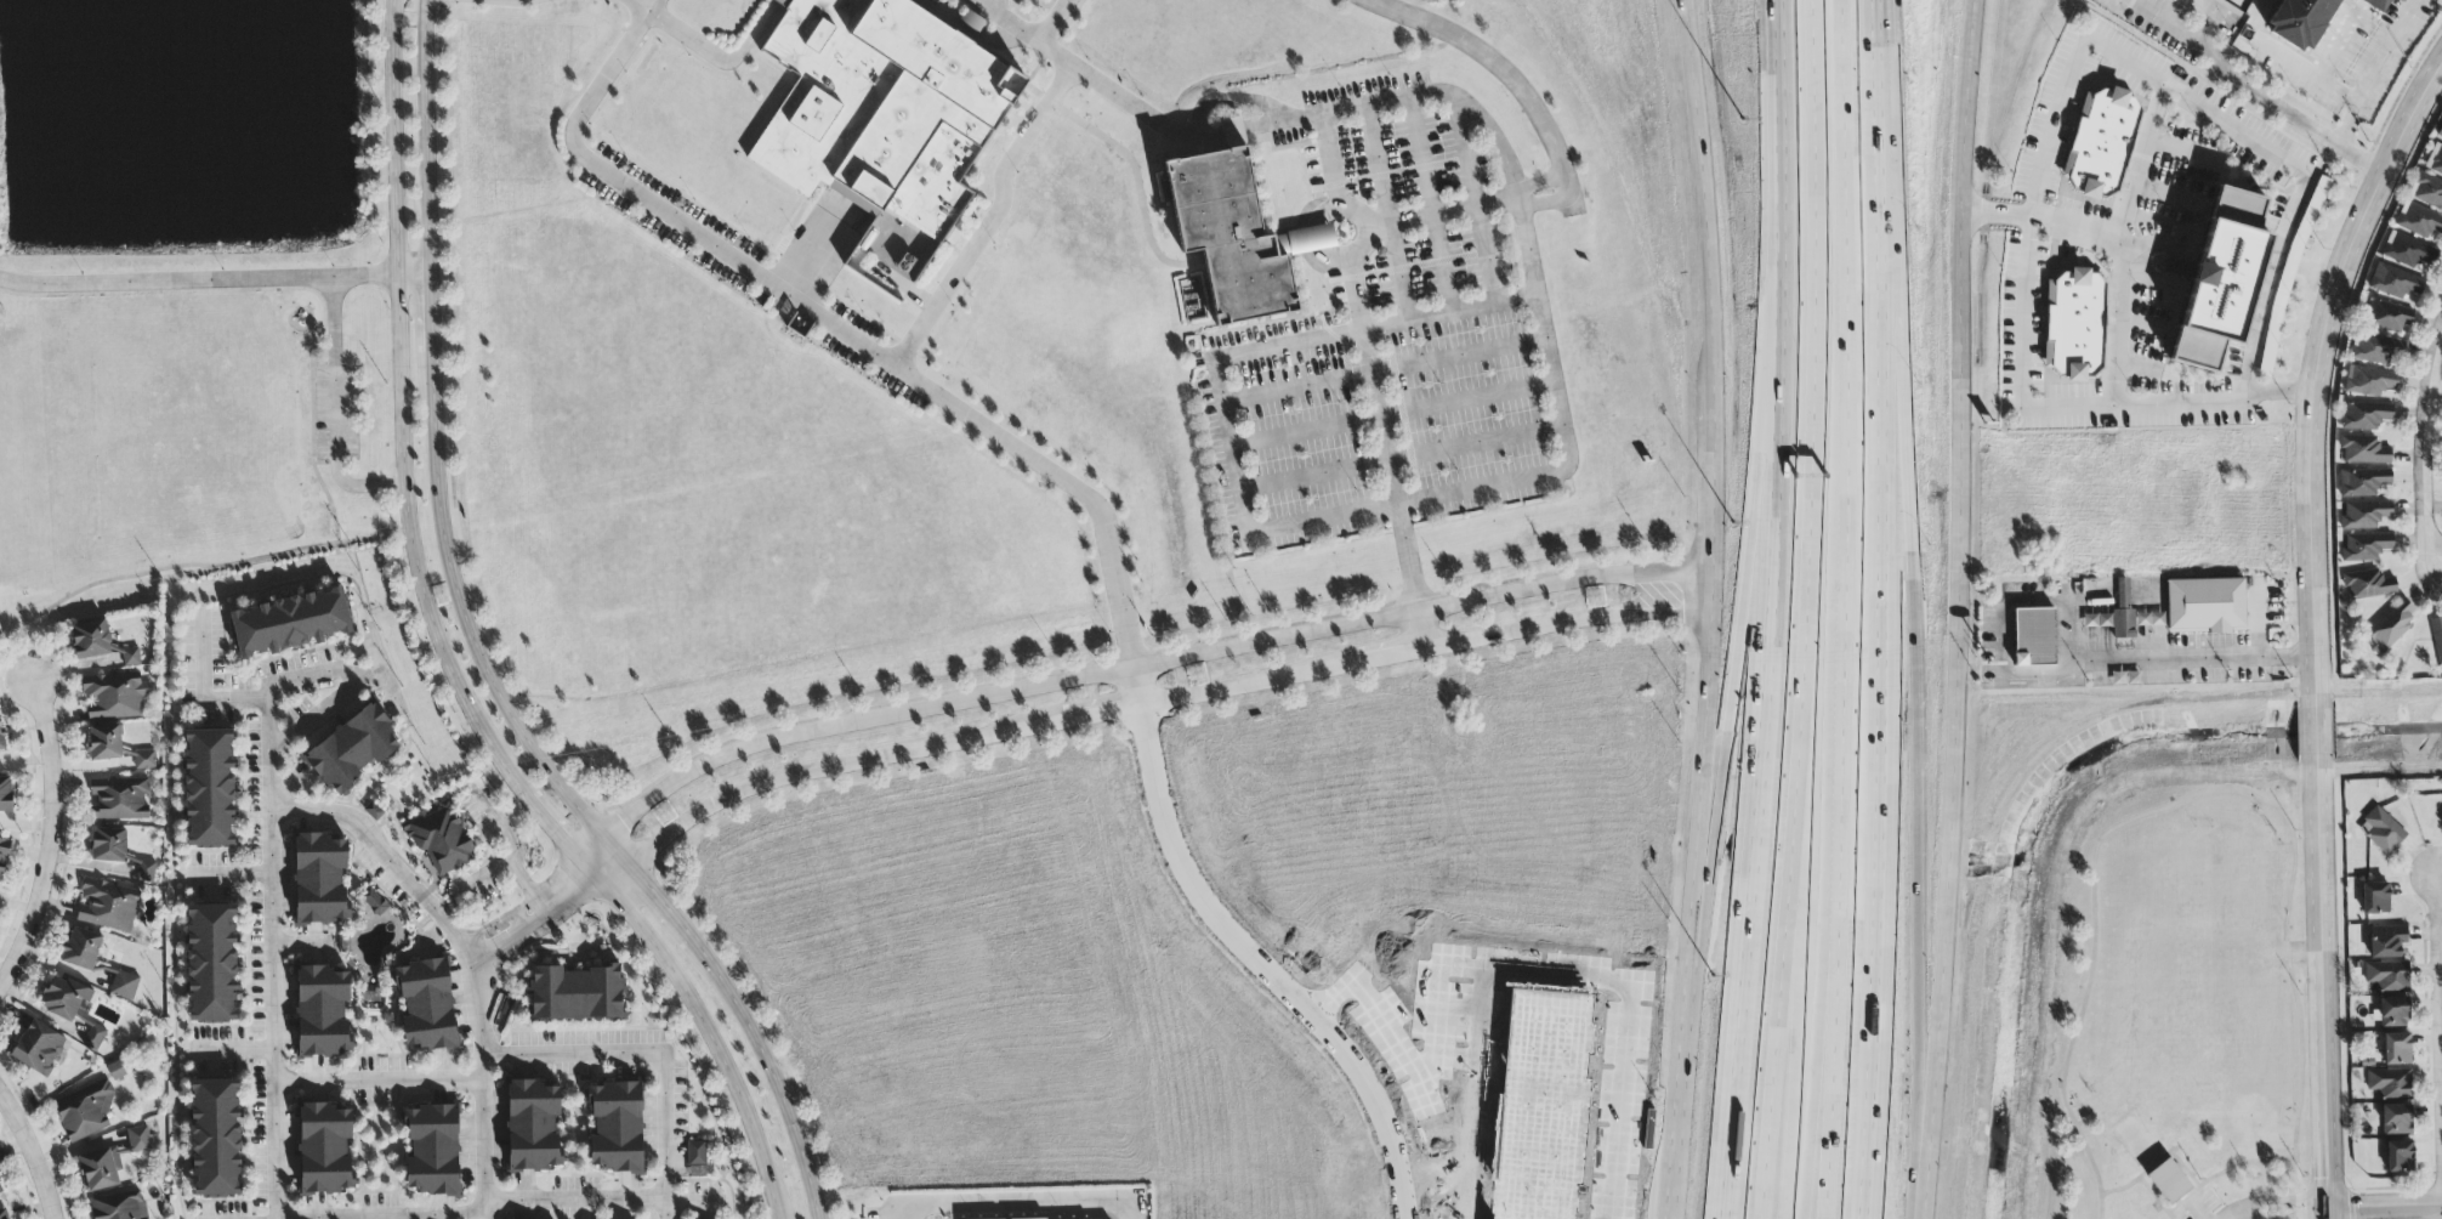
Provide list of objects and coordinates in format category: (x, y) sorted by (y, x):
building: (2174, 0)
road: (786, 1)
road: (993, 1)
parking lot: (996, 5)
building: (2375, 5)
road: (1013, 17)
road: (2211, 17)
road: (2162, 21)
building: (2300, 21)
road: (2344, 40)
road: (711, 55)
road: (1501, 69)
road: (2376, 72)
road: (2307, 73)
road: (1100, 75)
road: (1436, 93)
building: (885, 108)
road: (2284, 113)
road: (1198, 119)
road: (1037, 124)
building: (2440, 132)
building: (1232, 135)
building: (2100, 142)
road: (2182, 152)
road: (1329, 160)
building: (2434, 160)
road: (2290, 169)
road: (1538, 183)
road: (1702, 191)
building: (2426, 191)
road: (2169, 198)
road: (1475, 200)
road: (1782, 200)
road: (1429, 205)
road: (1544, 205)
road: (1386, 212)
road: (1441, 212)
road: (1994, 215)
building: (2418, 221)
road: (2074, 231)
building: (1234, 238)
road: (2122, 243)
road: (1362, 248)
building: (2406, 251)
building: (2174, 267)
road: (2179, 268)
road: (414, 276)
road: (2307, 277)
road: (952, 279)
building: (2220, 279)
road: (198, 282)
building: (2392, 282)
road: (174, 291)
road: (1448, 312)
building: (2387, 316)
building: (2073, 324)
road: (835, 327)
road: (2143, 327)
road: (1545, 341)
road: (1284, 345)
building: (2374, 348)
road: (2140, 365)
road: (2018, 367)
road: (1381, 372)
building: (2369, 381)
road: (2435, 398)
parking lot: (333, 413)
road: (334, 413)
road: (1388, 415)
building: (2366, 415)
road: (311, 436)
road: (1382, 437)
road: (1226, 448)
building: (2362, 450)
road: (2423, 450)
road: (1398, 460)
road: (322, 461)
road: (1710, 477)
building: (2361, 482)
road: (1398, 505)
building: (2364, 515)
building: (2364, 546)
road: (200, 567)
road: (1958, 583)
building: (2367, 584)
road: (1709, 590)
building: (2204, 606)
road: (1805, 609)
road: (1841, 609)
road: (1890, 609)
building: (2122, 612)
building: (290, 624)
road: (2258, 625)
building: (2390, 625)
road: (2317, 626)
road: (1422, 633)
building: (2033, 637)
building: (90, 640)
building: (2436, 640)
road: (1738, 647)
road: (374, 651)
road: (447, 654)
building: (130, 657)
road: (482, 658)
road: (2207, 658)
road: (1126, 669)
road: (333, 670)
road: (385, 679)
road: (203, 684)
road: (1136, 687)
road: (2380, 694)
building: (114, 696)
road: (1140, 705)
building: (1, 739)
building: (104, 743)
building: (352, 749)
road: (1706, 752)
building: (143, 760)
road: (2380, 765)
road: (1916, 786)
building: (209, 788)
building: (5, 794)
building: (119, 799)
road: (1754, 810)
building: (2441, 820)
road: (2114, 826)
building: (2380, 832)
building: (439, 839)
road: (55, 843)
building: (108, 845)
road: (516, 849)
building: (2, 857)
building: (146, 872)
road: (232, 874)
road: (487, 875)
building: (320, 880)
road: (569, 889)
road: (2441, 897)
building: (2374, 898)
building: (374, 902)
building: (107, 905)
road: (511, 937)
building: (2386, 941)
building: (80, 949)
road: (471, 952)
building: (211, 964)
road: (1262, 969)
road: (1816, 975)
road: (1795, 976)
building: (2385, 976)
building: (124, 986)
road: (272, 990)
building: (575, 994)
park: (2180, 996)
building: (64, 998)
building: (426, 1005)
building: (322, 1013)
building: (2392, 1013)
building: (93, 1038)
road: (657, 1048)
building: (38, 1049)
building: (2396, 1049)
road: (1682, 1056)
building: (117, 1075)
road: (377, 1079)
building: (2389, 1083)
building: (85, 1113)
road: (2301, 1119)
building: (2395, 1119)
building: (533, 1127)
building: (615, 1128)
building: (215, 1139)
building: (325, 1150)
building: (432, 1151)
road: (32, 1152)
building: (2397, 1157)
building: (695, 1160)
building: (110, 1162)
road: (2192, 1164)
road: (2230, 1166)
road: (2149, 1170)
building: (2168, 1181)
building: (1, 1190)
road: (1924, 1192)
road: (1022, 1195)
road: (2164, 1196)
road: (601, 1197)
road: (2281, 1201)
building: (119, 1206)
parking lot: (2210, 1206)
road: (2194, 1207)
road: (2386, 1209)
road: (2324, 1212)
road: (381, 1214)
road: (2233, 1214)
road: (2248, 1215)
road: (2307, 1215)
building: (5, 1218)

